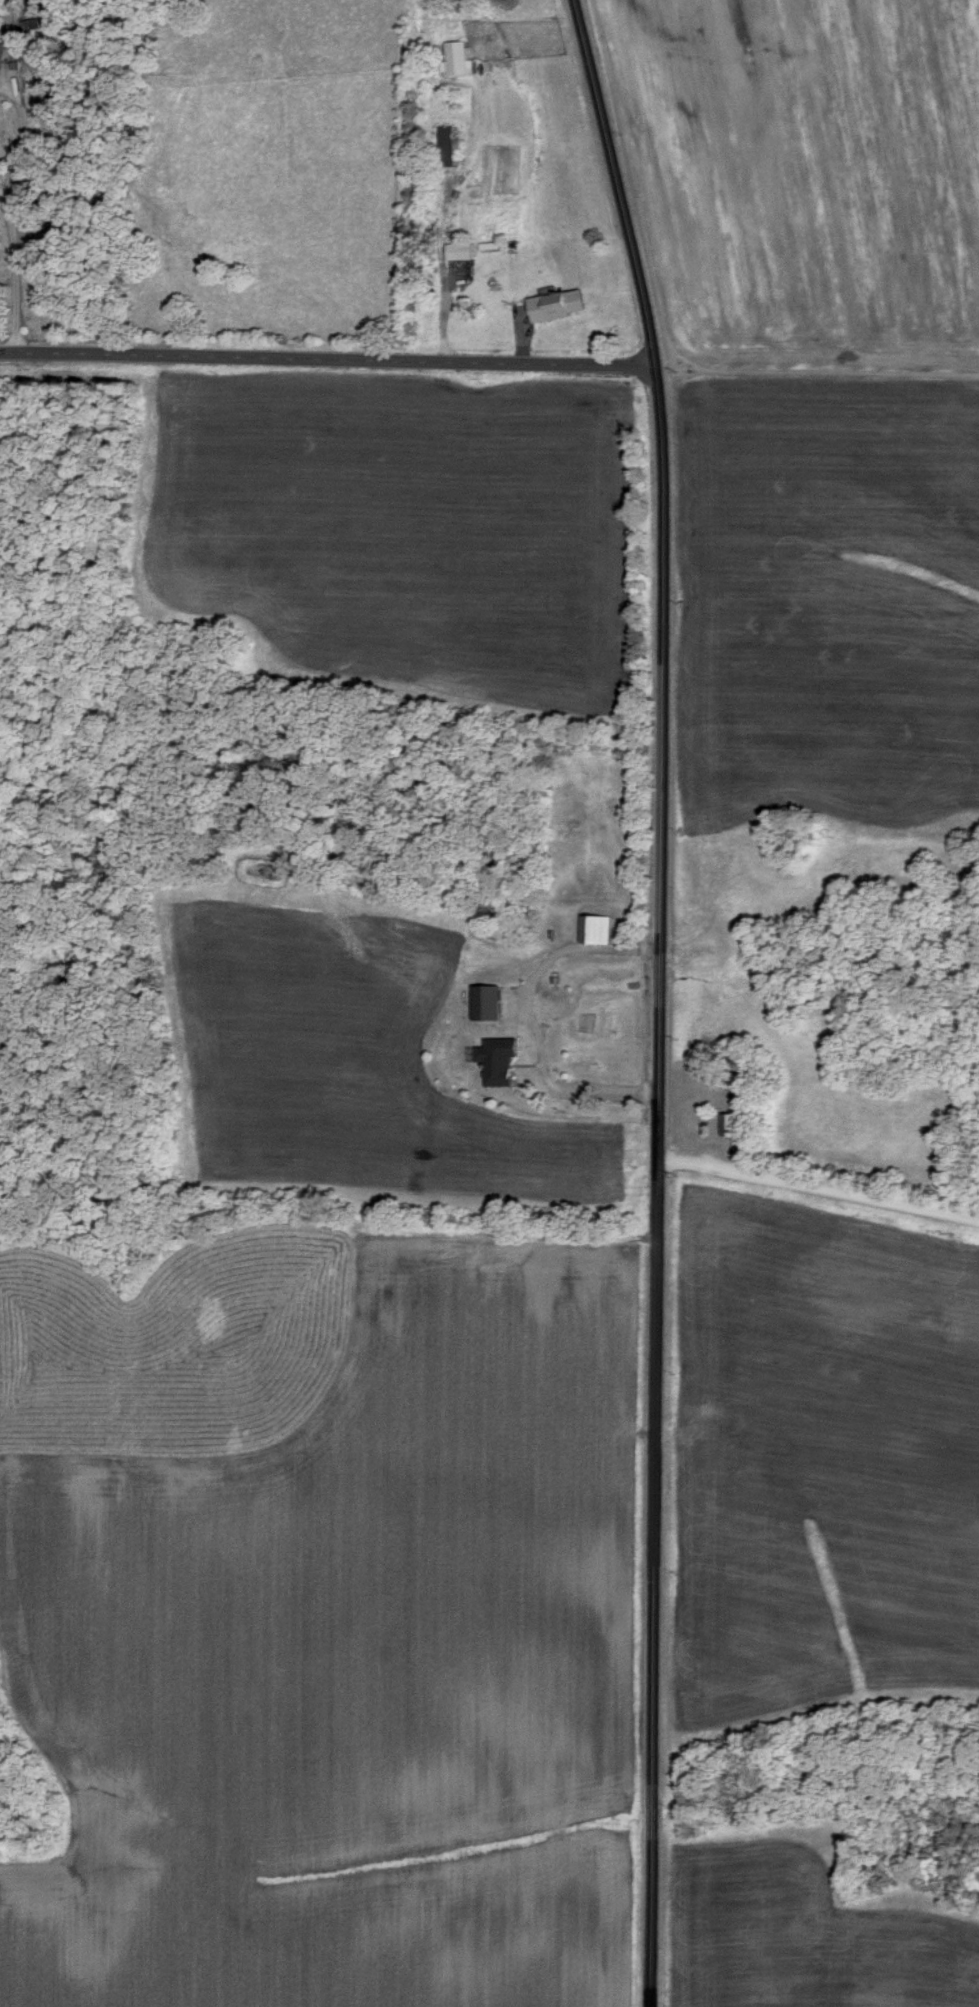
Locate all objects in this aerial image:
building: (458, 59)
building: (452, 148)
road: (434, 227)
building: (494, 248)
building: (465, 252)
road: (20, 260)
building: (561, 306)
road: (328, 360)
road: (496, 884)
building: (598, 931)
road: (662, 998)
building: (490, 1004)
road: (531, 1017)
building: (502, 1062)
building: (733, 1127)
road: (820, 1192)

